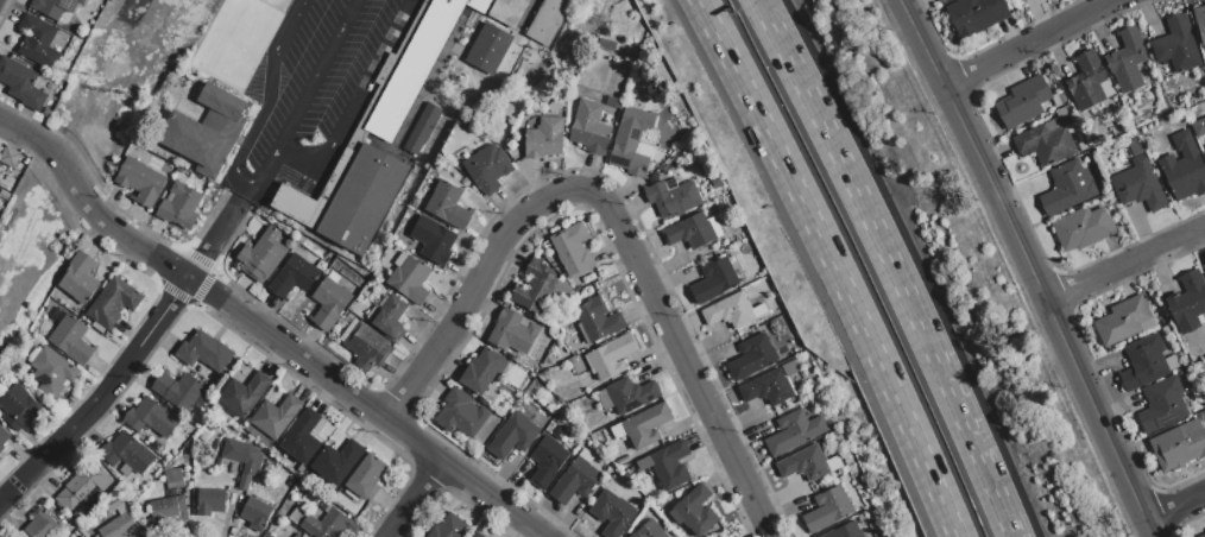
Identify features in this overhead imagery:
building: (942, 1)
building: (55, 7)
building: (974, 15)
building: (547, 21)
building: (1200, 21)
building: (38, 43)
road: (1027, 43)
building: (607, 45)
building: (1175, 45)
building: (488, 50)
building: (1125, 59)
power tower: (96, 76)
road: (315, 76)
building: (1087, 82)
building: (21, 84)
road: (269, 88)
road: (361, 88)
power tower: (132, 91)
building: (1021, 102)
building: (1198, 127)
building: (591, 128)
building: (422, 129)
building: (384, 131)
building: (207, 132)
building: (544, 139)
building: (1043, 141)
building: (632, 143)
building: (1204, 152)
building: (10, 158)
road: (297, 166)
building: (488, 169)
building: (1182, 169)
road: (267, 173)
building: (140, 182)
road: (244, 184)
building: (1137, 185)
building: (1066, 188)
building: (671, 198)
building: (448, 206)
building: (181, 207)
building: (1080, 228)
building: (692, 230)
road: (219, 232)
building: (435, 240)
building: (573, 251)
building: (263, 255)
road: (832, 265)
road: (894, 265)
road: (1124, 265)
road: (1028, 266)
building: (292, 277)
building: (80, 279)
building: (411, 279)
building: (713, 280)
road: (482, 282)
building: (537, 289)
building: (113, 303)
building: (329, 303)
building: (1188, 303)
building: (732, 311)
road: (164, 314)
building: (391, 316)
building: (599, 321)
building: (1123, 321)
road: (263, 331)
building: (515, 333)
building: (70, 341)
building: (367, 347)
building: (204, 353)
building: (612, 358)
building: (751, 358)
building: (1144, 362)
building: (484, 371)
building: (51, 372)
road: (688, 373)
building: (769, 385)
building: (179, 391)
building: (244, 394)
building: (626, 396)
building: (1161, 405)
building: (19, 409)
building: (461, 415)
building: (276, 417)
building: (151, 418)
building: (642, 427)
road: (71, 430)
building: (793, 431)
building: (513, 436)
building: (2, 438)
building: (302, 438)
building: (1178, 446)
building: (127, 454)
building: (242, 460)
building: (547, 461)
building: (337, 462)
building: (807, 463)
building: (665, 465)
building: (366, 476)
building: (575, 481)
building: (82, 486)
road: (405, 498)
building: (169, 501)
building: (209, 503)
building: (113, 504)
building: (826, 508)
road: (1174, 508)
building: (694, 511)
building: (612, 513)
building: (255, 514)
building: (39, 525)
building: (328, 525)
building: (119, 527)
building: (449, 527)
building: (648, 530)
building: (845, 531)
building: (477, 535)
building: (1201, 535)
building: (297, 536)

